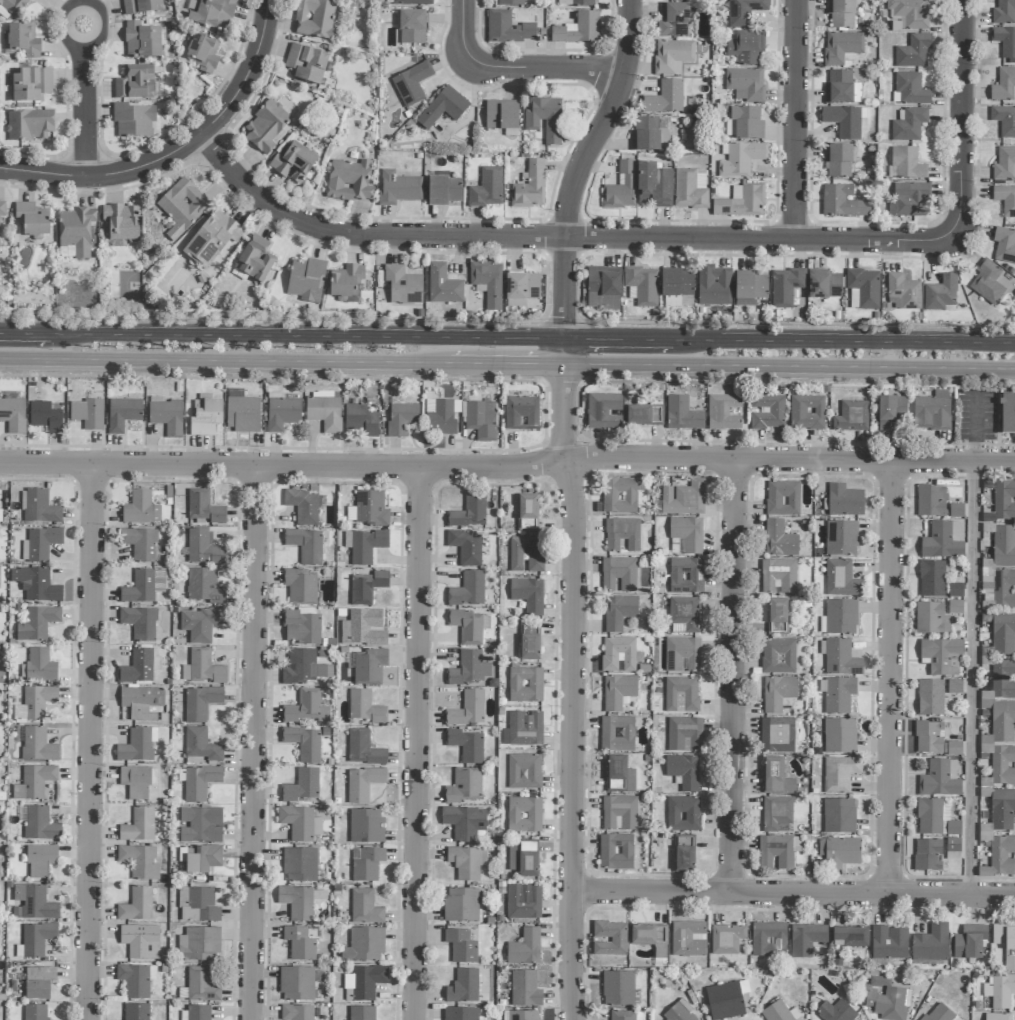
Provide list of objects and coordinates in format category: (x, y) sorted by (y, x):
building: (687, 0)
building: (412, 2)
building: (510, 3)
building: (575, 3)
building: (13, 6)
building: (141, 6)
building: (744, 12)
building: (1004, 12)
building: (841, 13)
building: (910, 13)
building: (214, 14)
building: (315, 19)
building: (673, 20)
building: (412, 27)
building: (507, 28)
building: (578, 29)
building: (23, 41)
building: (142, 41)
building: (1005, 43)
building: (746, 48)
building: (842, 48)
building: (203, 52)
building: (913, 52)
building: (673, 56)
building: (305, 64)
road: (516, 69)
building: (135, 83)
building: (30, 84)
building: (412, 84)
building: (745, 84)
building: (1004, 86)
building: (841, 88)
road: (86, 89)
building: (665, 98)
building: (443, 108)
building: (501, 115)
road: (964, 118)
building: (545, 119)
road: (796, 120)
building: (1004, 120)
building: (134, 121)
building: (844, 121)
building: (744, 123)
building: (30, 125)
building: (909, 125)
building: (265, 127)
building: (649, 133)
road: (180, 152)
building: (741, 159)
building: (838, 161)
building: (293, 163)
building: (906, 164)
building: (1004, 164)
road: (582, 165)
building: (349, 181)
building: (653, 186)
building: (530, 187)
building: (398, 188)
building: (487, 188)
building: (620, 188)
building: (443, 189)
building: (690, 189)
building: (910, 200)
building: (1005, 200)
building: (741, 202)
building: (843, 202)
building: (181, 207)
building: (2, 208)
building: (32, 219)
building: (121, 222)
building: (76, 230)
road: (563, 238)
building: (212, 240)
building: (1004, 246)
building: (66, 251)
building: (255, 259)
building: (305, 278)
building: (345, 281)
building: (487, 283)
building: (987, 283)
building: (824, 284)
building: (403, 285)
building: (443, 285)
building: (714, 286)
building: (641, 287)
building: (750, 287)
building: (785, 287)
building: (864, 287)
building: (521, 288)
building: (603, 288)
building: (677, 288)
building: (903, 293)
building: (940, 294)
road: (271, 316)
road: (799, 324)
road: (28, 333)
road: (311, 336)
road: (626, 340)
road: (851, 341)
road: (565, 352)
road: (218, 360)
road: (500, 364)
road: (790, 366)
road: (268, 374)
road: (800, 382)
building: (604, 409)
building: (765, 409)
building: (723, 410)
building: (281, 411)
building: (324, 411)
building: (805, 411)
building: (891, 411)
building: (242, 412)
building: (637, 412)
building: (681, 412)
building: (930, 412)
building: (1008, 412)
building: (521, 413)
building: (850, 413)
building: (87, 414)
building: (123, 414)
building: (13, 415)
building: (166, 416)
building: (439, 416)
parking lot: (974, 416)
building: (45, 417)
building: (401, 419)
building: (481, 420)
building: (361, 421)
road: (974, 428)
road: (508, 468)
building: (618, 494)
building: (782, 495)
building: (844, 497)
building: (684, 498)
building: (930, 498)
building: (1004, 500)
building: (304, 506)
building: (40, 507)
building: (203, 507)
building: (140, 509)
building: (371, 509)
building: (0, 510)
building: (469, 511)
building: (956, 511)
building: (527, 513)
building: (620, 533)
building: (685, 536)
building: (777, 537)
building: (841, 537)
building: (942, 541)
building: (40, 544)
building: (141, 544)
building: (306, 545)
building: (364, 545)
building: (1004, 546)
building: (466, 547)
building: (202, 549)
building: (535, 563)
building: (620, 573)
building: (777, 574)
building: (686, 576)
building: (839, 577)
building: (931, 579)
building: (36, 585)
building: (143, 586)
building: (204, 586)
building: (300, 586)
building: (366, 587)
building: (1004, 589)
building: (468, 590)
building: (955, 590)
building: (528, 595)
building: (955, 607)
building: (618, 610)
building: (775, 614)
building: (840, 614)
building: (683, 615)
building: (931, 618)
building: (37, 623)
building: (140, 623)
building: (200, 624)
building: (469, 626)
building: (301, 627)
building: (366, 627)
building: (1003, 634)
building: (529, 642)
building: (618, 654)
building: (682, 654)
building: (777, 654)
building: (839, 656)
building: (942, 656)
building: (40, 665)
building: (367, 666)
building: (137, 667)
building: (303, 667)
building: (203, 668)
building: (468, 669)
road: (735, 676)
road: (892, 678)
road: (975, 679)
building: (1003, 679)
building: (525, 685)
building: (954, 687)
road: (575, 691)
building: (618, 691)
building: (777, 692)
building: (838, 693)
building: (681, 694)
building: (930, 698)
building: (37, 701)
building: (141, 702)
building: (200, 703)
building: (365, 707)
building: (305, 708)
building: (467, 709)
building: (523, 729)
building: (778, 733)
building: (617, 734)
building: (684, 734)
building: (838, 734)
building: (929, 737)
road: (92, 742)
road: (255, 743)
building: (303, 743)
road: (418, 744)
building: (38, 745)
building: (137, 745)
building: (466, 746)
building: (200, 747)
building: (363, 749)
building: (523, 770)
building: (683, 771)
building: (835, 773)
building: (775, 774)
building: (619, 775)
building: (939, 779)
building: (137, 781)
building: (34, 782)
building: (199, 782)
building: (363, 783)
building: (301, 786)
building: (464, 786)
building: (1002, 809)
building: (775, 810)
building: (619, 813)
building: (837, 813)
building: (524, 814)
building: (683, 814)
building: (935, 819)
building: (464, 822)
building: (300, 823)
building: (40, 824)
building: (200, 825)
building: (138, 826)
building: (366, 826)
building: (953, 848)
building: (617, 851)
building: (775, 851)
building: (839, 852)
building: (997, 853)
building: (683, 855)
building: (927, 855)
building: (523, 858)
building: (41, 860)
building: (202, 860)
building: (139, 861)
building: (467, 862)
building: (366, 864)
building: (298, 865)
road: (794, 894)
building: (297, 902)
building: (523, 902)
building: (33, 903)
building: (137, 905)
building: (197, 905)
building: (461, 905)
building: (365, 908)
building: (647, 935)
building: (849, 937)
building: (610, 938)
building: (688, 939)
building: (726, 939)
building: (806, 939)
building: (34, 940)
building: (768, 940)
building: (141, 941)
building: (889, 942)
building: (969, 942)
building: (299, 943)
building: (199, 944)
building: (364, 944)
building: (930, 944)
building: (1003, 945)
building: (461, 946)
building: (525, 948)
building: (136, 980)
building: (38, 982)
building: (364, 982)
building: (296, 983)
building: (201, 986)
building: (463, 986)
building: (618, 988)
building: (525, 989)
building: (999, 990)
building: (885, 999)
building: (726, 1000)
building: (835, 1011)
building: (35, 1012)
building: (679, 1012)
building: (779, 1012)
building: (362, 1013)
building: (461, 1013)
building: (939, 1013)
building: (521, 1015)
building: (625, 1015)
building: (997, 1016)

